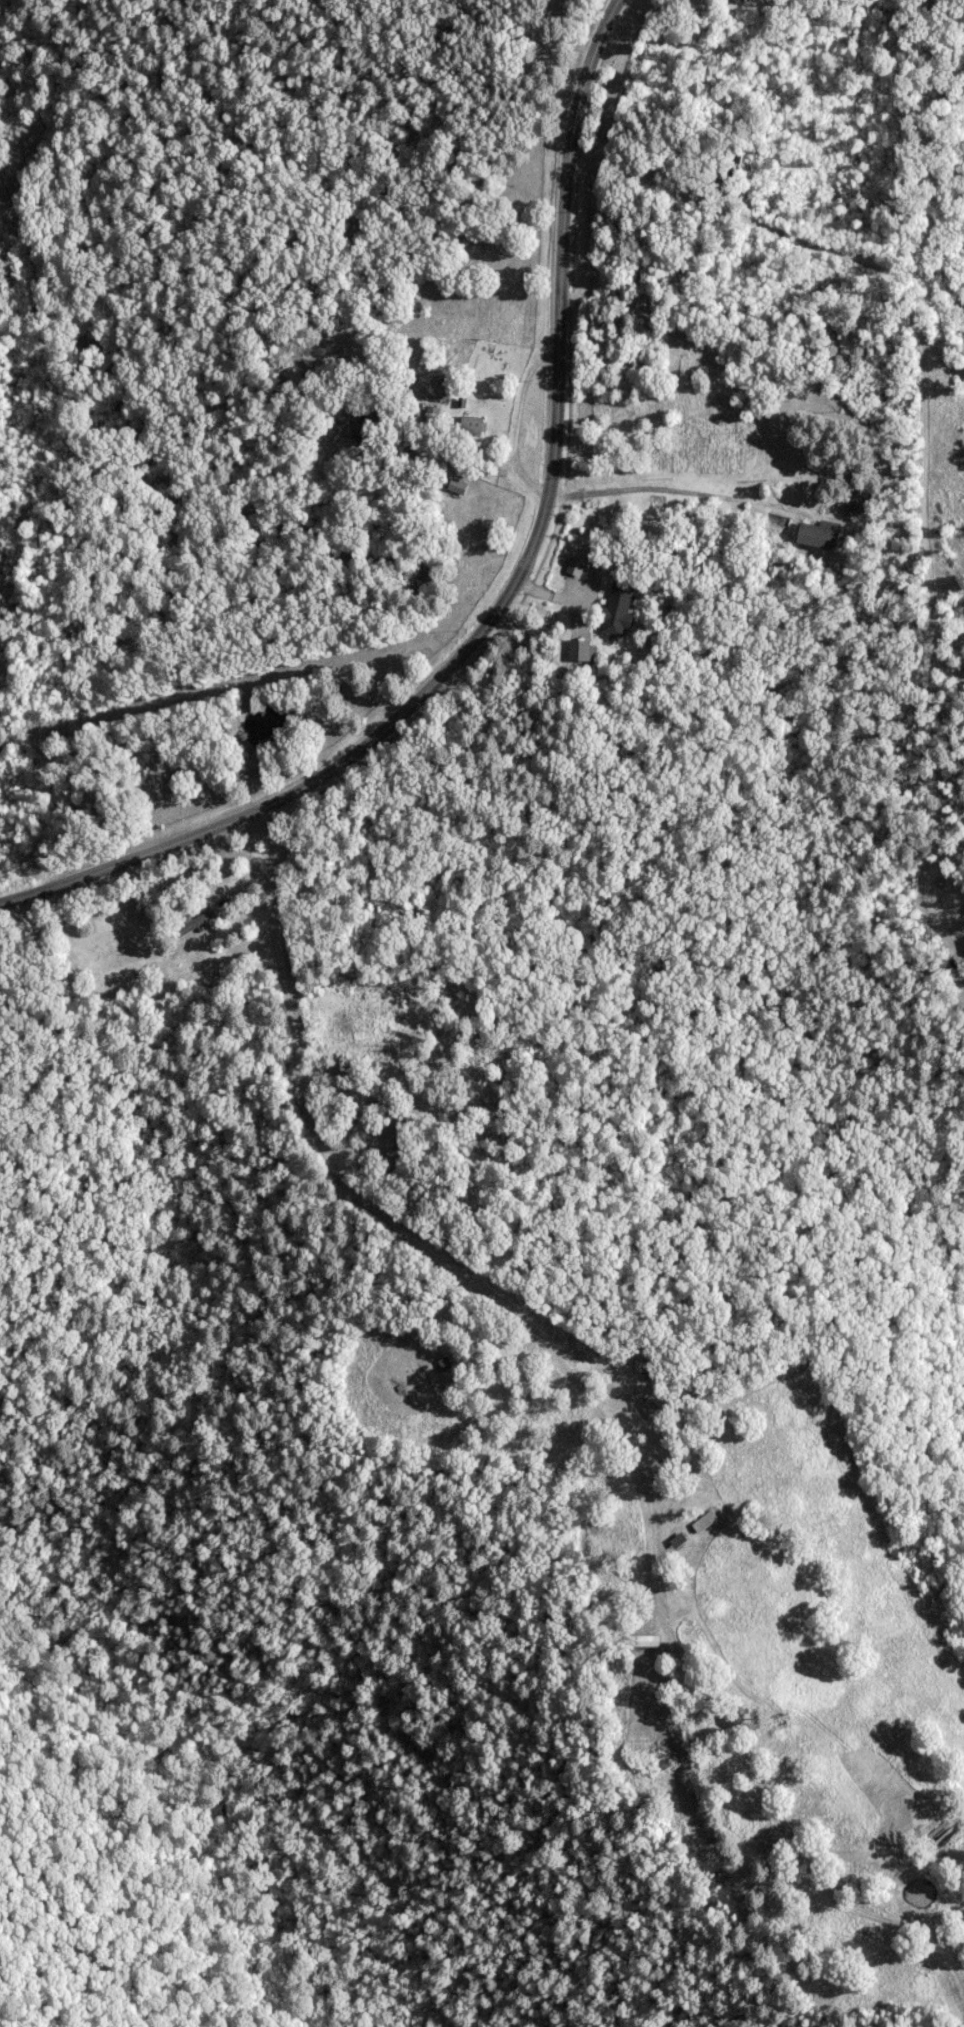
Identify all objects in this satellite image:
building: (737, 0)
road: (870, 264)
road: (516, 419)
building: (470, 424)
road: (658, 487)
building: (814, 533)
building: (574, 565)
road: (509, 592)
building: (615, 609)
building: (580, 650)
road: (920, 859)
road: (558, 1359)
building: (702, 1520)
building: (643, 1639)

